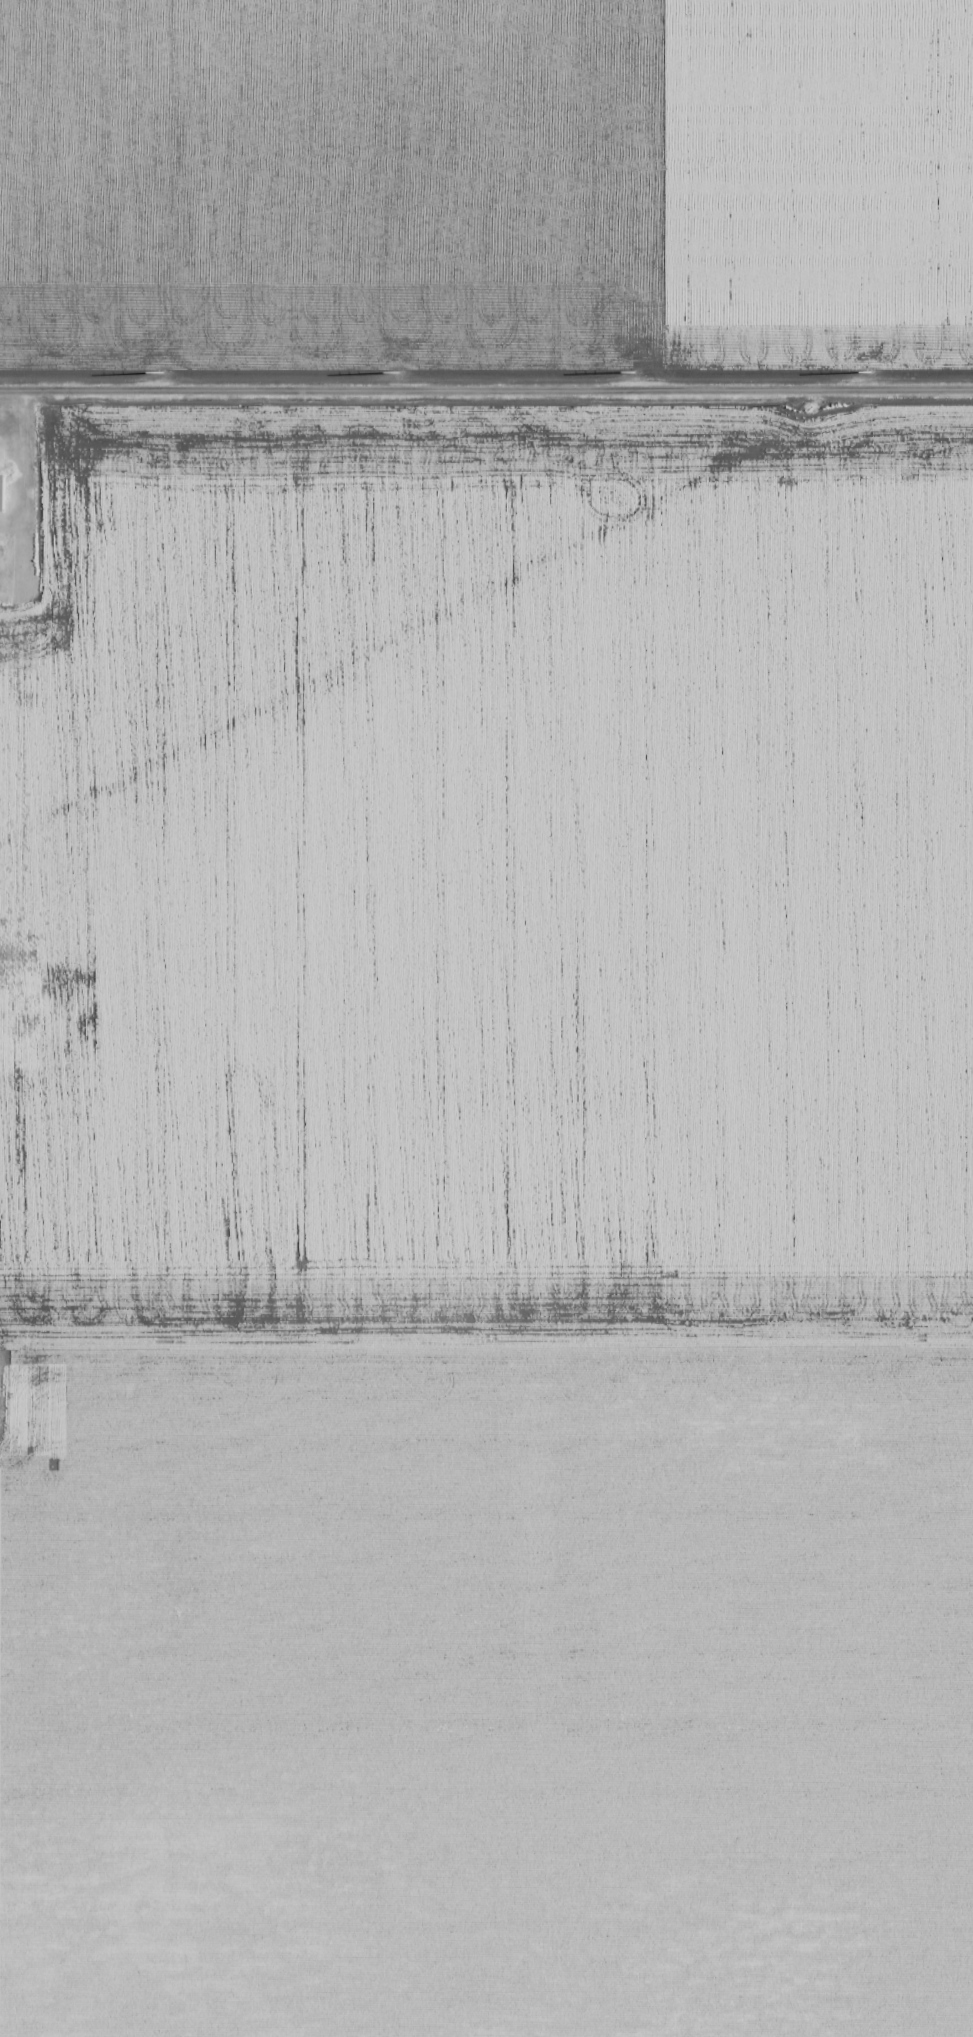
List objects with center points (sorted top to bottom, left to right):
crop: (486, 188)
power tower: (164, 373)
power tower: (395, 373)
power tower: (633, 373)
power tower: (868, 373)
road: (486, 391)
building: (0, 459)
building: (2, 547)

